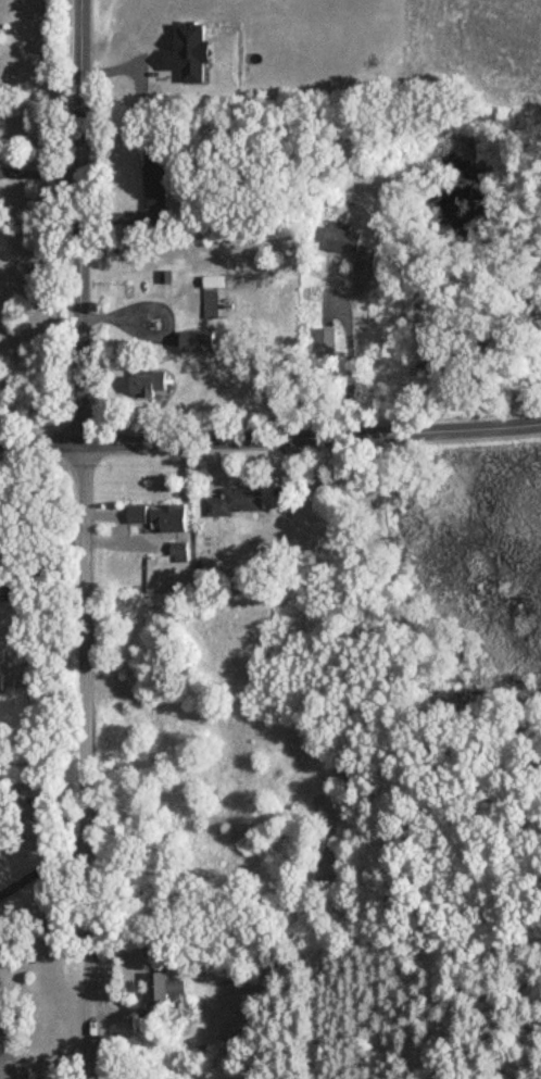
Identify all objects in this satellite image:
road: (80, 223)
building: (339, 246)
building: (217, 299)
building: (206, 341)
road: (348, 368)
road: (311, 440)
road: (40, 448)
building: (241, 501)
building: (178, 519)
building: (183, 552)
road: (46, 563)
road: (85, 763)
road: (40, 864)
building: (165, 994)

